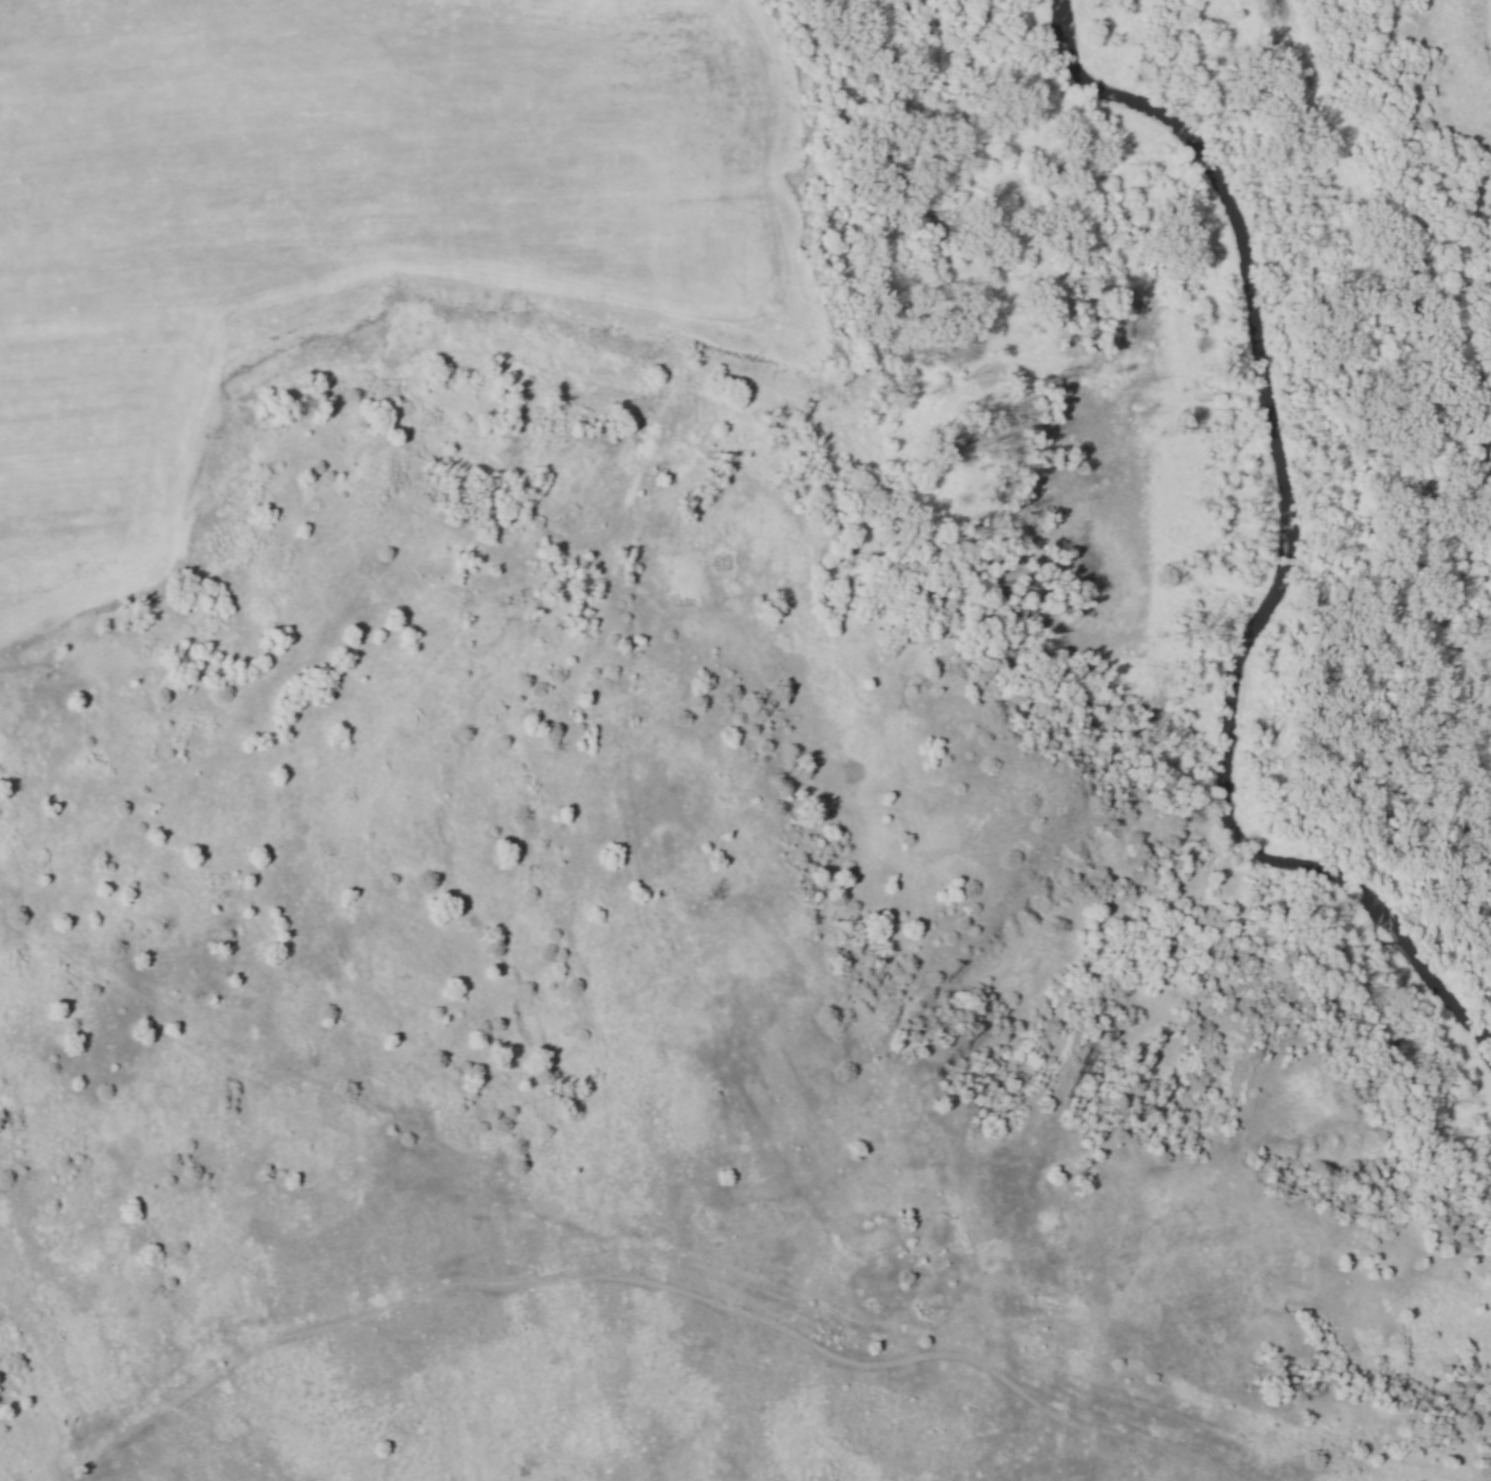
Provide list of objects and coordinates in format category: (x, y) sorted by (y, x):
crop: (377, 149)
crop: (96, 456)
park: (745, 740)

